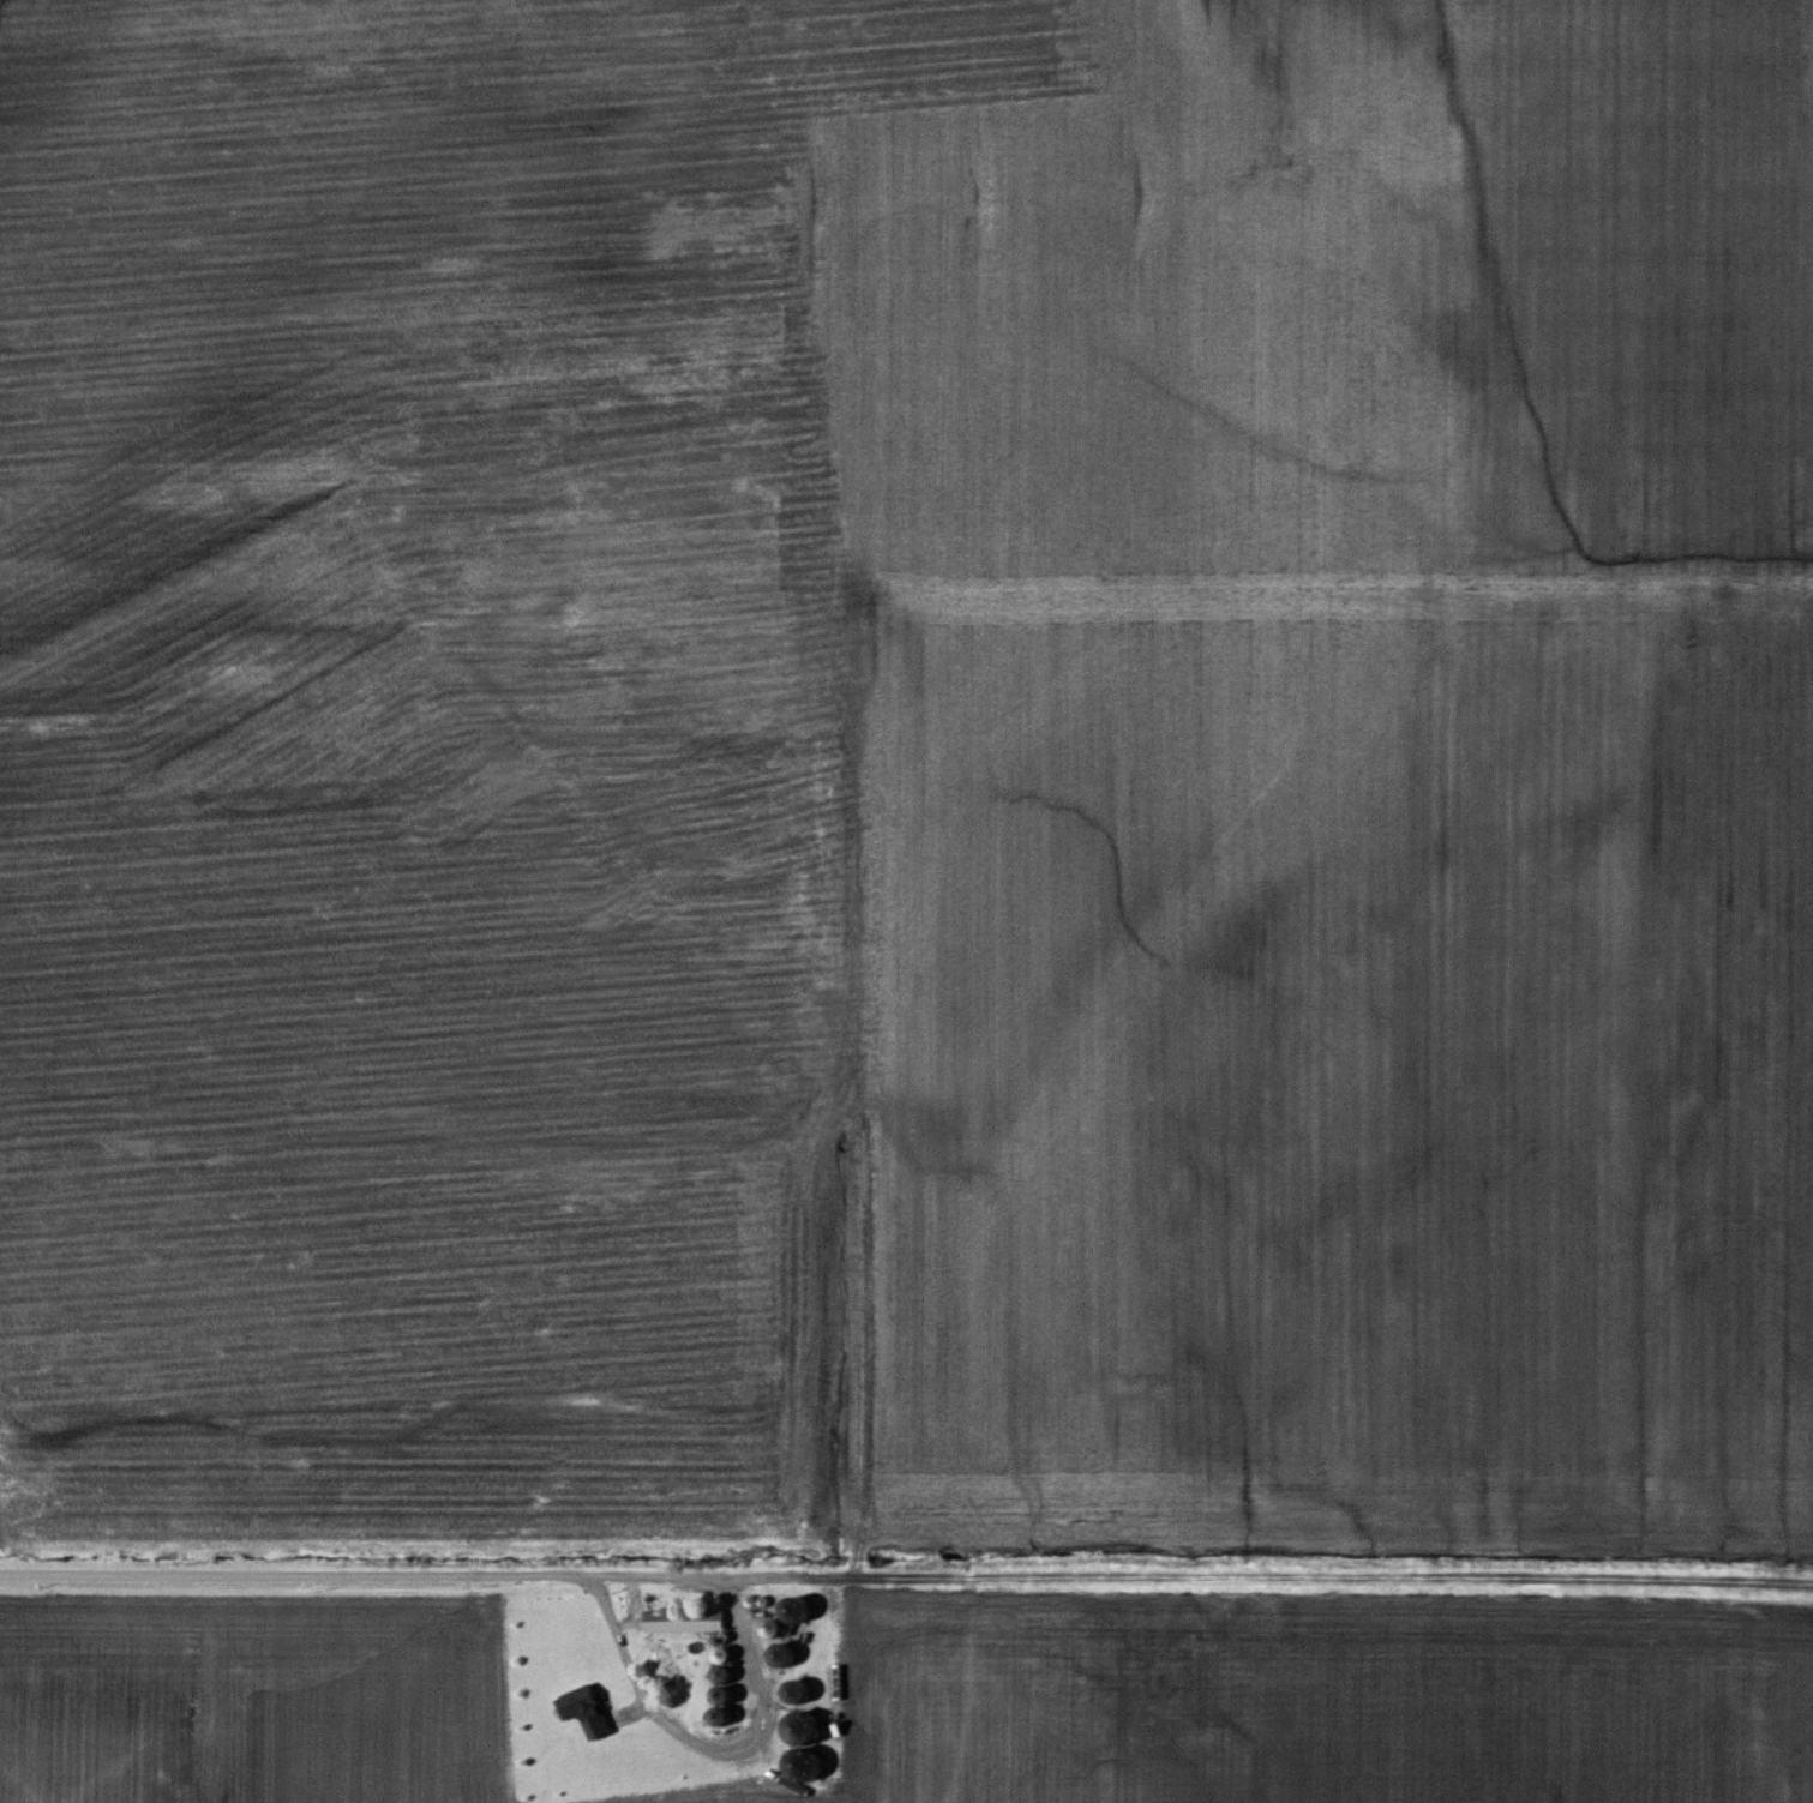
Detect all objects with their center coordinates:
road: (906, 1571)
building: (666, 1659)
building: (589, 1708)
road: (713, 1741)

